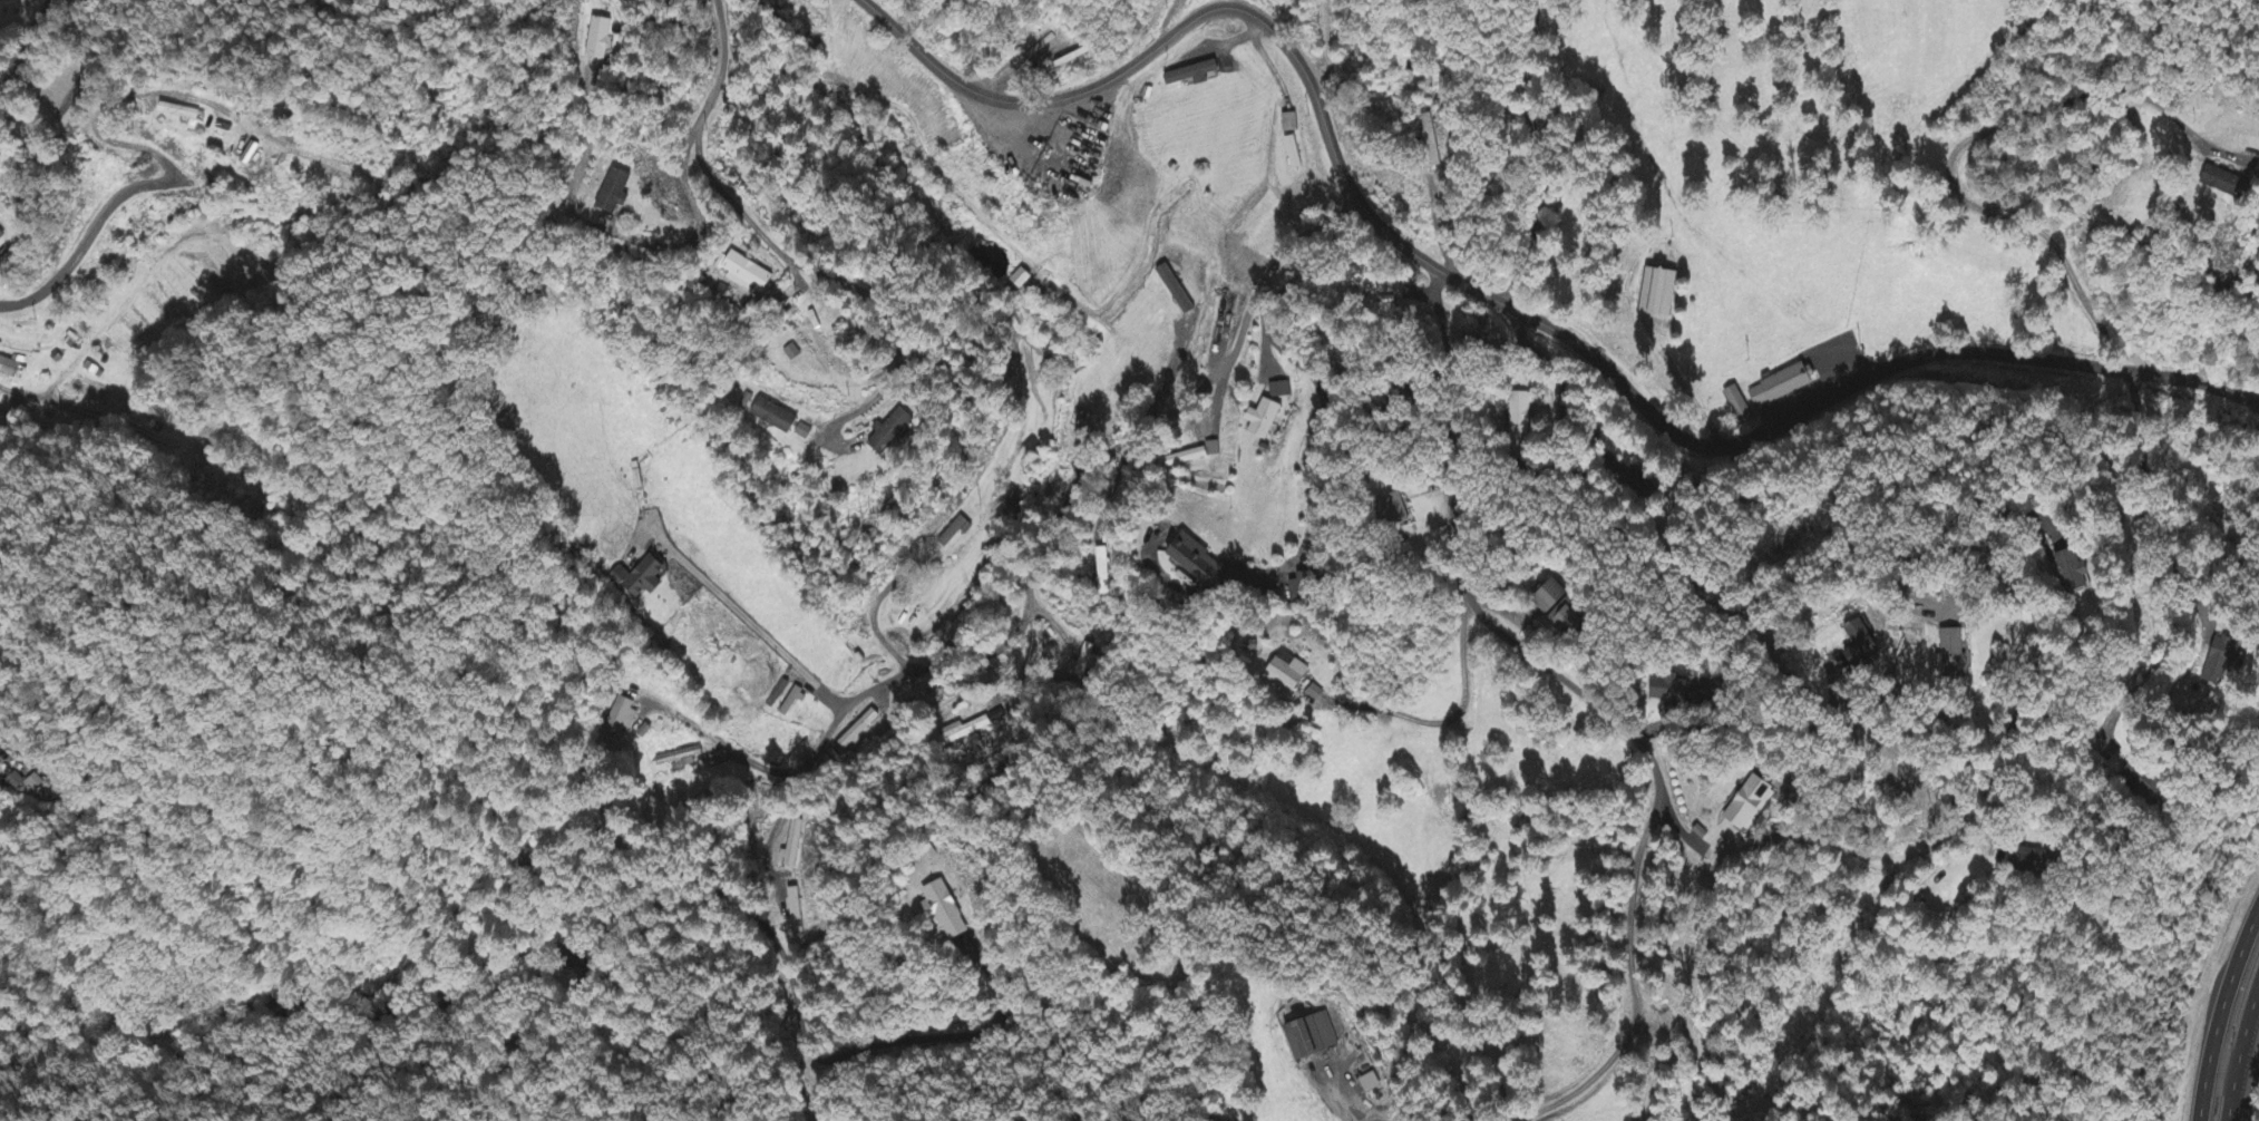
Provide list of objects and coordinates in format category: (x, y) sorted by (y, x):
building: (620, 42)
building: (1192, 75)
building: (1289, 124)
building: (1429, 133)
road: (133, 145)
road: (1433, 149)
building: (1293, 154)
building: (2218, 183)
building: (617, 193)
building: (2, 236)
building: (749, 274)
building: (1375, 282)
building: (1664, 292)
road: (1490, 299)
building: (13, 369)
building: (92, 371)
building: (1783, 379)
road: (1560, 382)
building: (1279, 391)
road: (22, 396)
building: (1739, 407)
building: (773, 417)
building: (1265, 420)
building: (893, 431)
road: (2141, 454)
building: (1191, 456)
road: (1061, 520)
building: (1200, 559)
road: (1831, 564)
building: (1101, 566)
building: (2071, 573)
building: (637, 578)
road: (1464, 581)
building: (1304, 588)
building: (1567, 610)
road: (750, 617)
building: (1863, 644)
road: (2168, 646)
building: (1954, 655)
building: (2217, 663)
building: (1083, 664)
building: (1289, 674)
building: (1684, 693)
building: (778, 694)
building: (620, 717)
road: (1729, 724)
building: (859, 730)
building: (963, 731)
building: (679, 759)
building: (17, 782)
building: (35, 783)
building: (1759, 803)
road: (1681, 829)
road: (1901, 856)
building: (2034, 859)
building: (943, 910)
road: (1632, 990)
road: (315, 1001)
road: (2220, 1008)
road: (2227, 1013)
building: (1317, 1039)
road: (2238, 1046)
road: (508, 1047)
building: (1374, 1084)

